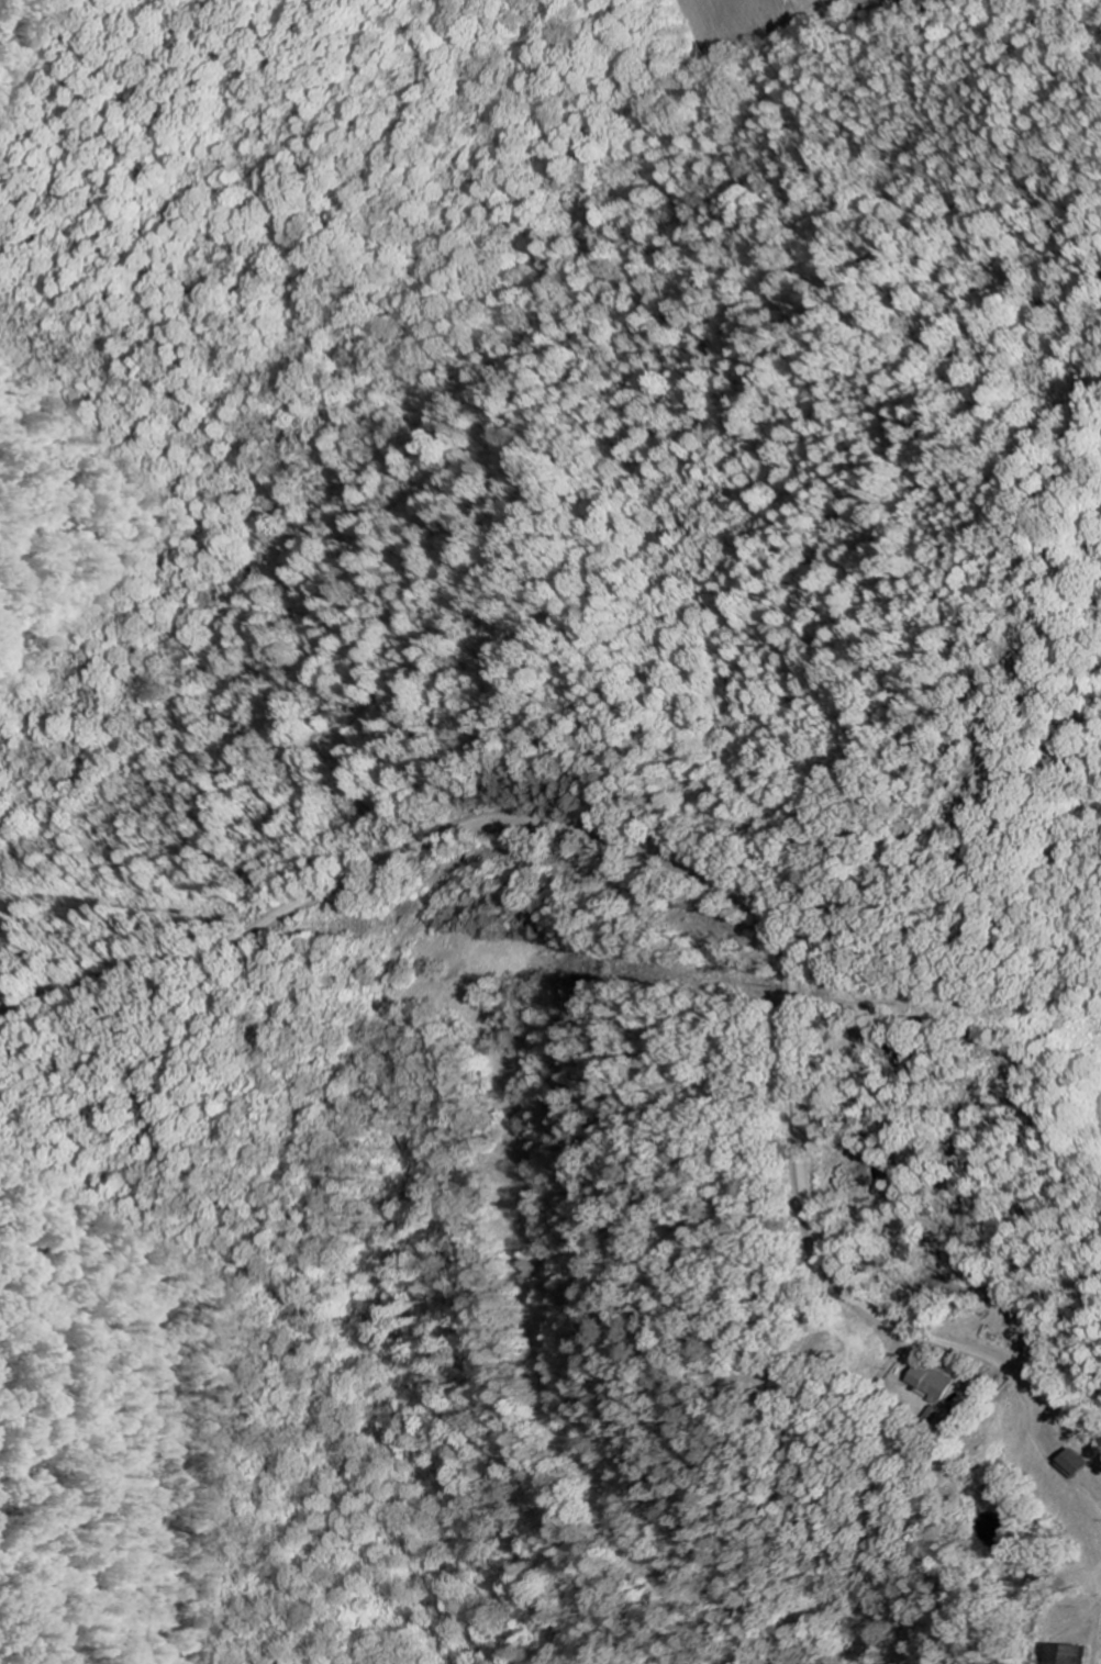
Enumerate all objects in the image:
road: (720, 876)
building: (944, 1381)
building: (1086, 1461)
building: (1082, 1653)

